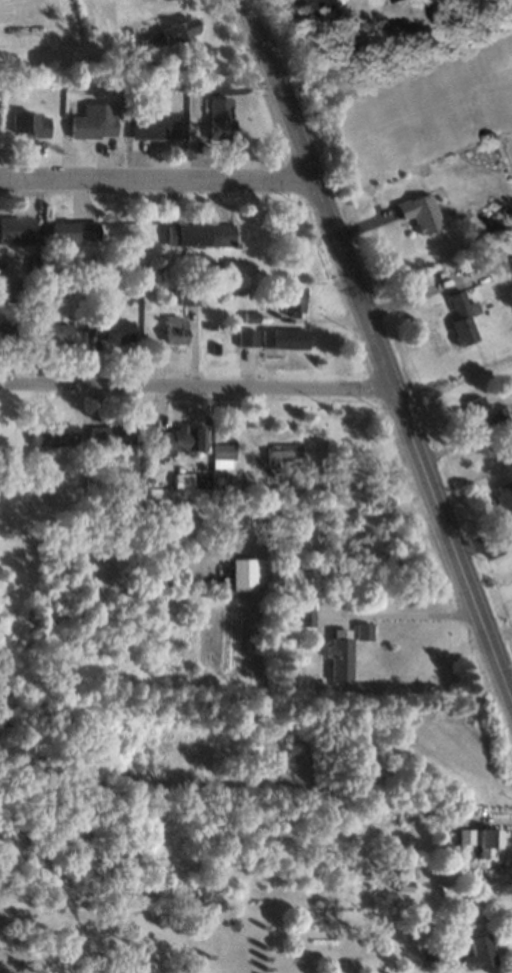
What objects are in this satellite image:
building: (396, 0)
building: (331, 4)
building: (167, 34)
building: (221, 118)
building: (93, 121)
building: (29, 123)
building: (154, 125)
road: (157, 188)
building: (419, 212)
building: (17, 229)
building: (74, 230)
building: (200, 234)
building: (55, 288)
building: (13, 290)
building: (187, 293)
building: (293, 298)
building: (460, 320)
building: (50, 325)
building: (174, 329)
building: (116, 330)
building: (6, 332)
building: (245, 336)
building: (284, 337)
road: (377, 356)
road: (195, 391)
building: (483, 413)
building: (53, 434)
building: (180, 437)
building: (116, 441)
building: (282, 451)
building: (222, 455)
building: (506, 503)
building: (244, 573)
building: (305, 612)
building: (345, 649)
building: (464, 836)
building: (488, 841)
building: (401, 881)
building: (479, 952)

